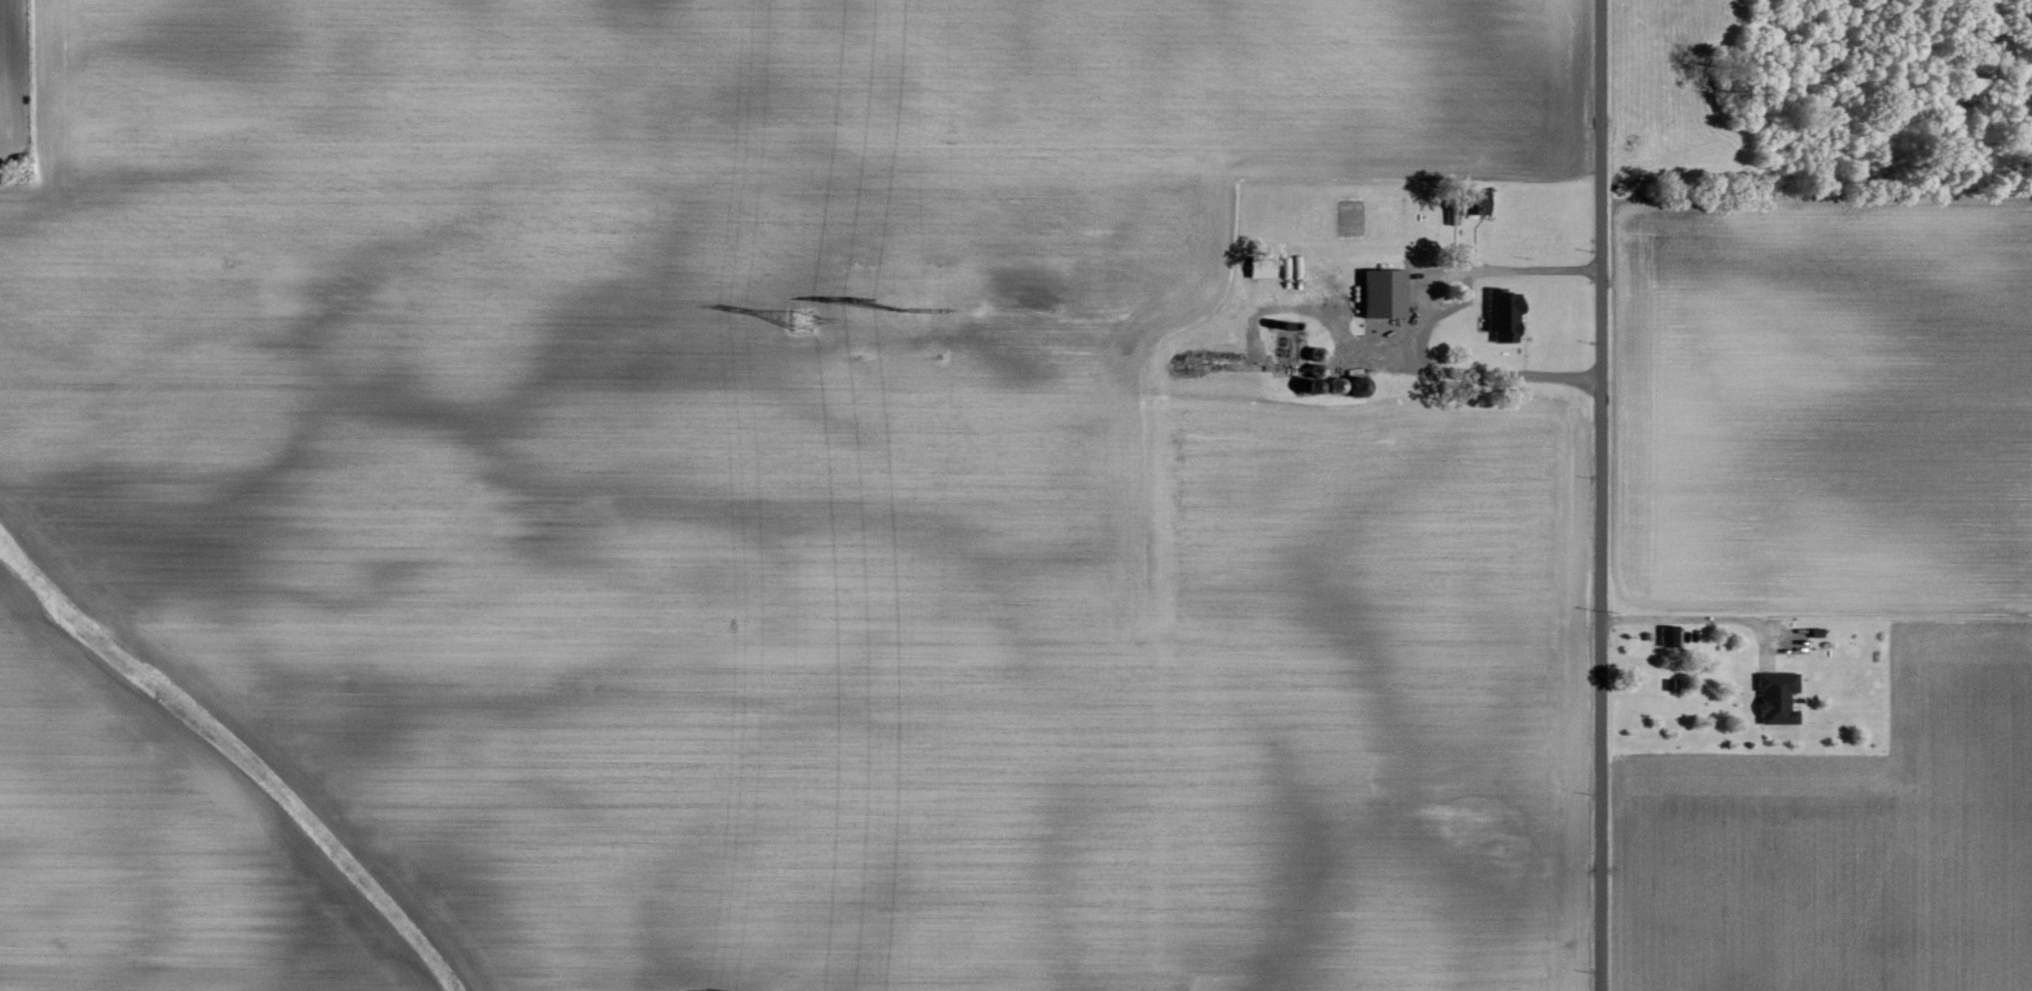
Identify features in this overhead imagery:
building: (1469, 204)
building: (1258, 269)
building: (1380, 293)
power tower: (899, 304)
building: (1500, 315)
power tower: (801, 319)
road: (1416, 327)
road: (1600, 495)
road: (1692, 616)
building: (1774, 698)

